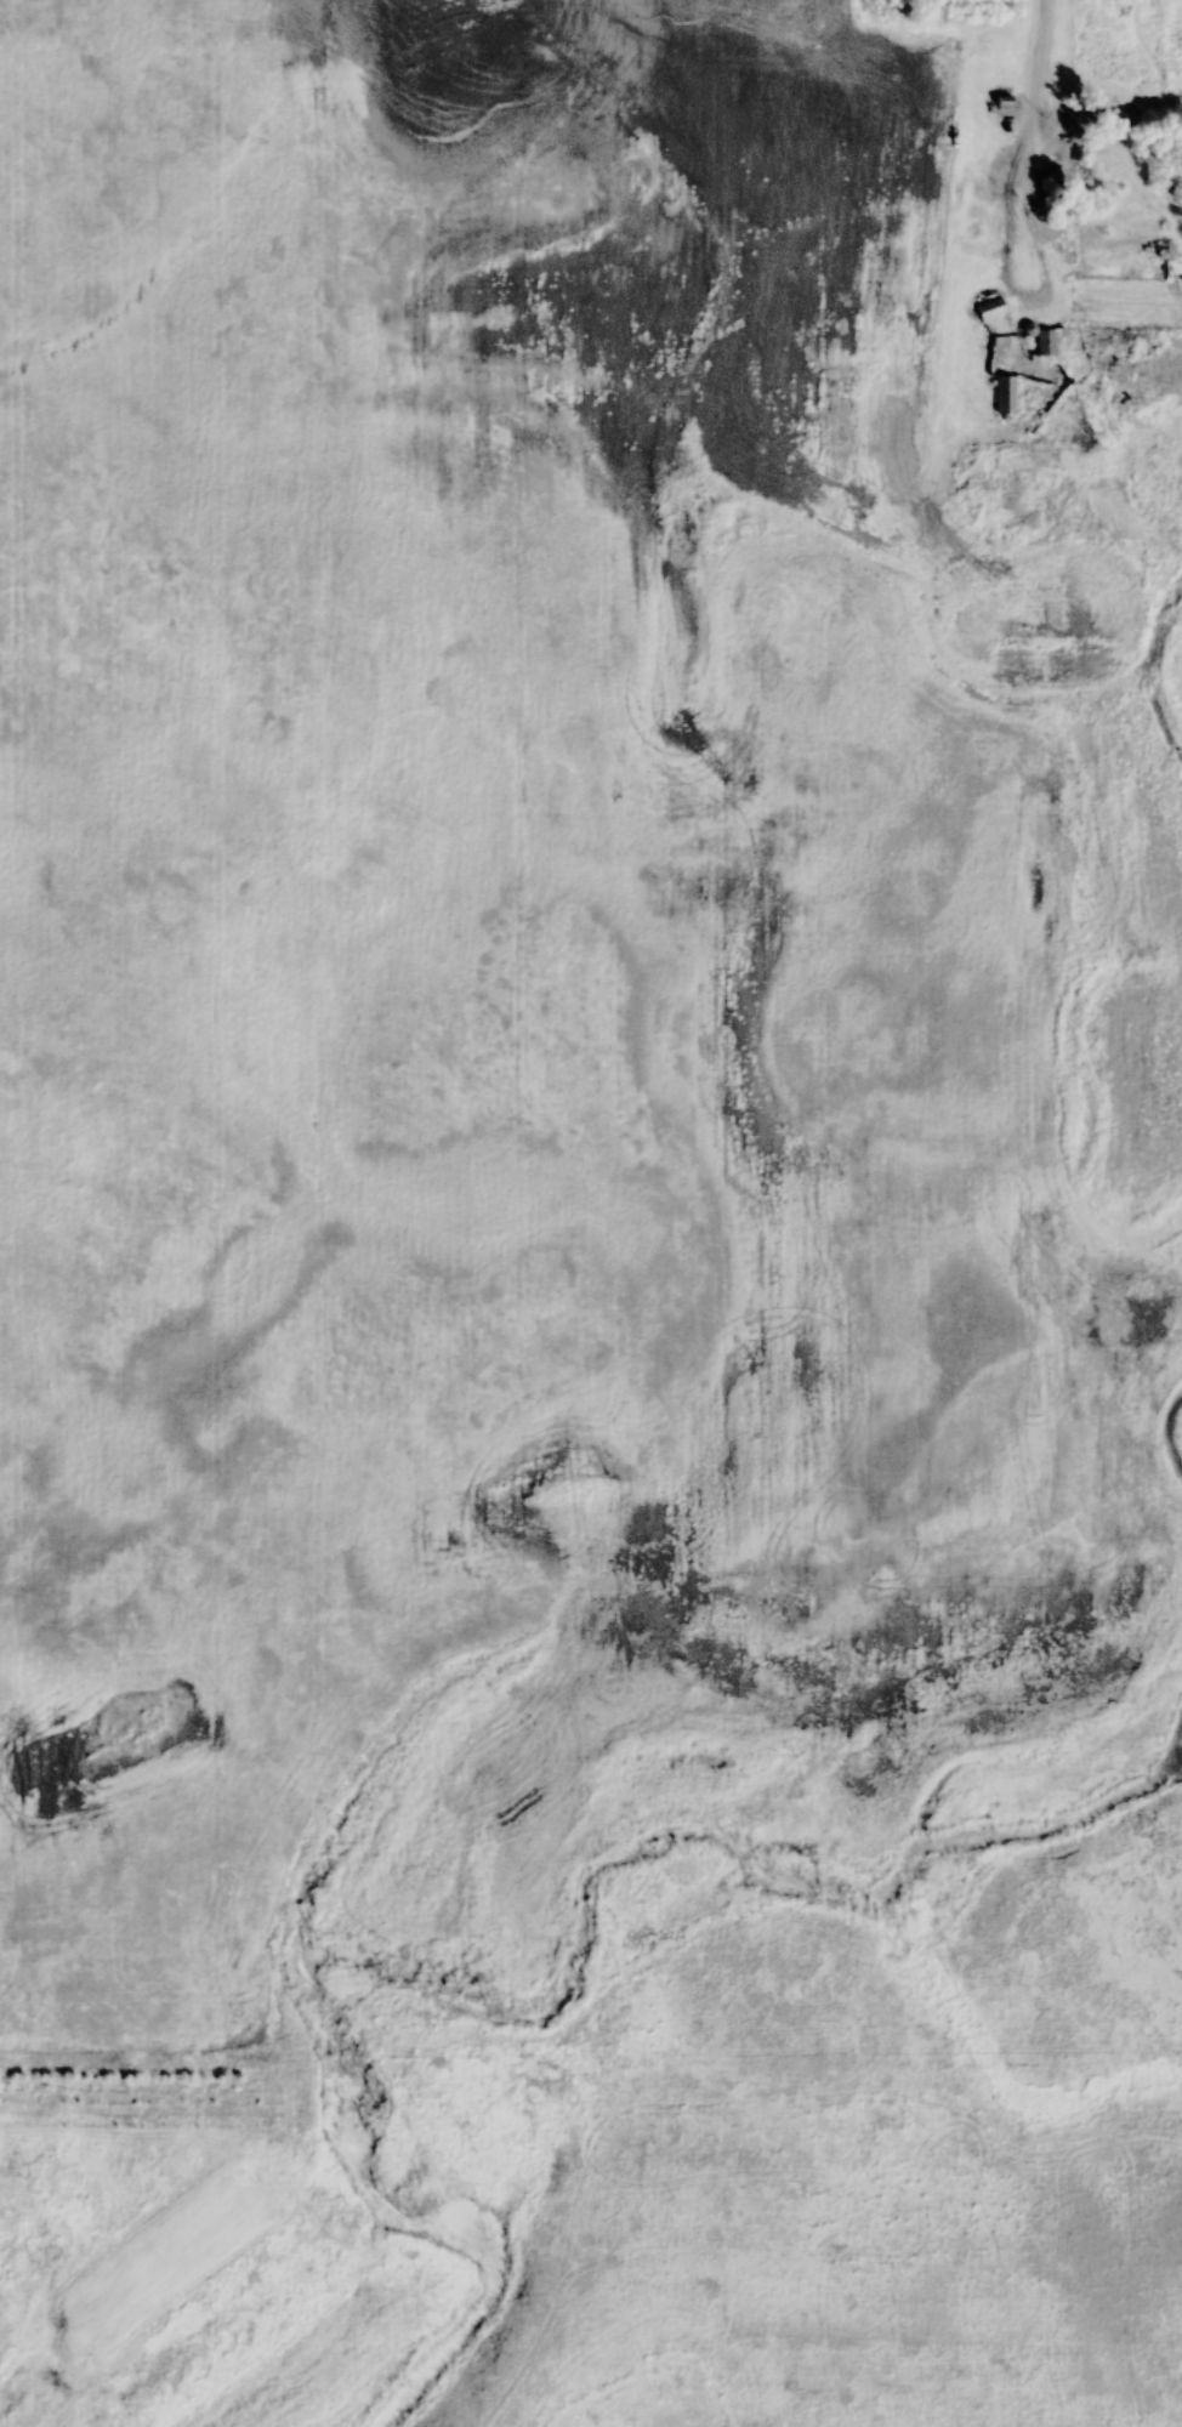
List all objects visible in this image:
building: (1069, 113)
building: (990, 311)
building: (982, 341)
building: (1045, 343)
building: (977, 365)
building: (1005, 396)

